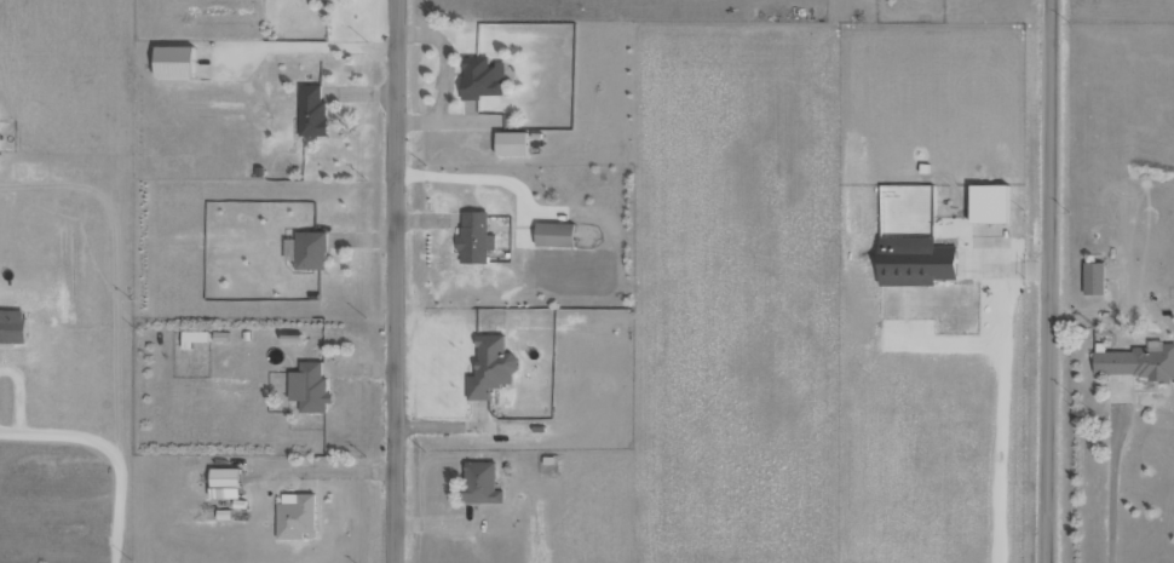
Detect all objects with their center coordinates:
building: (172, 61)
building: (480, 77)
building: (311, 110)
building: (510, 143)
building: (988, 202)
building: (553, 234)
building: (473, 237)
building: (307, 249)
building: (914, 260)
building: (1093, 277)
road: (396, 281)
road: (1049, 281)
building: (11, 326)
building: (192, 338)
building: (1134, 361)
building: (490, 367)
building: (309, 387)
building: (223, 476)
building: (479, 483)
building: (295, 515)

